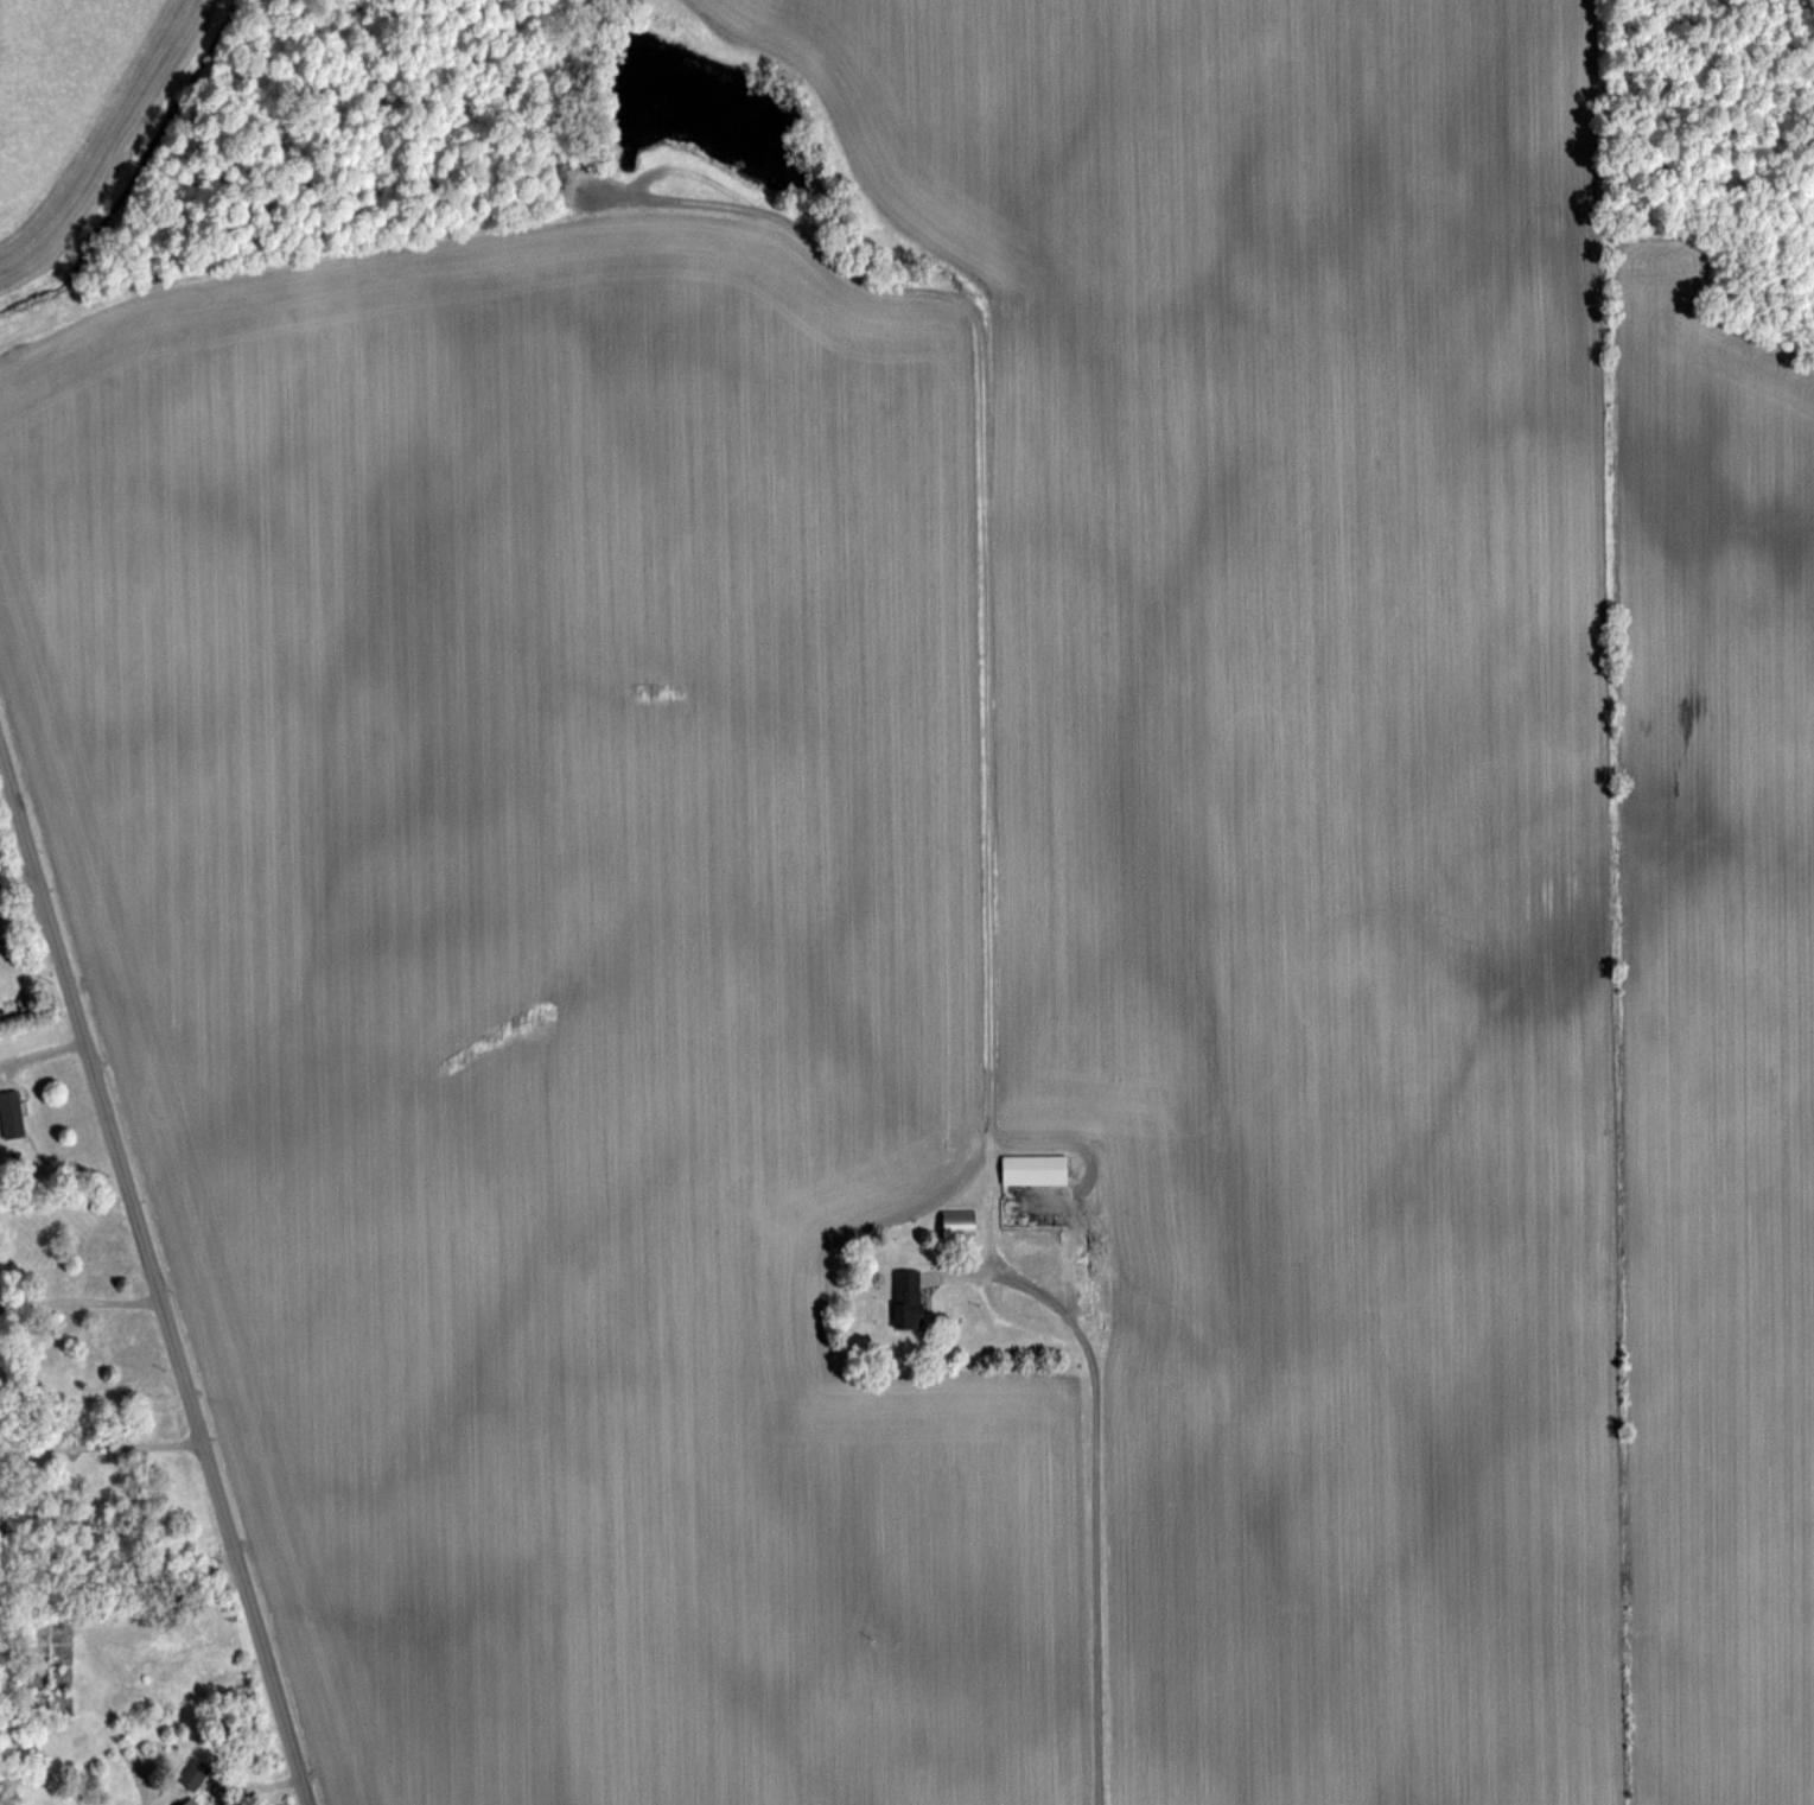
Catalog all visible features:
crop: (962, 867)
road: (18, 873)
road: (44, 1050)
building: (0, 1074)
building: (8, 1111)
building: (1026, 1167)
building: (951, 1221)
road: (154, 1272)
building: (1031, 1284)
building: (900, 1295)
road: (79, 1297)
road: (101, 1441)
road: (1091, 1486)
building: (186, 1769)
building: (198, 1774)
building: (183, 1800)
building: (196, 1801)

